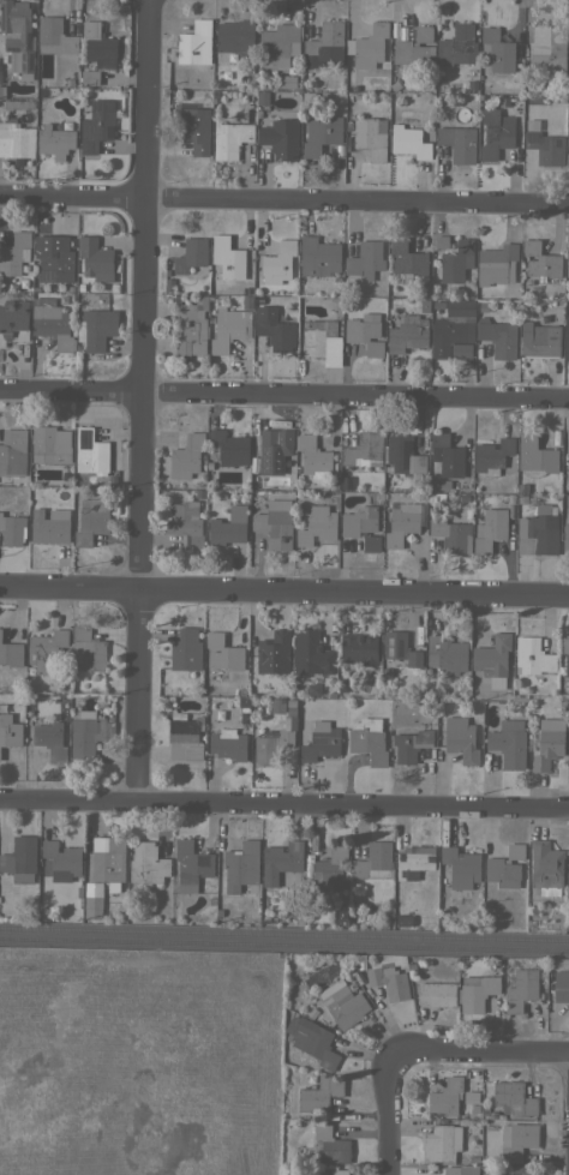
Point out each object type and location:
building: (17, 35)
building: (54, 36)
building: (234, 42)
building: (460, 42)
building: (194, 43)
building: (567, 43)
building: (98, 44)
building: (278, 44)
building: (325, 44)
building: (370, 48)
building: (414, 49)
building: (497, 49)
building: (546, 52)
building: (90, 77)
building: (281, 82)
building: (264, 83)
building: (472, 84)
building: (394, 85)
building: (307, 96)
building: (260, 97)
building: (471, 101)
building: (19, 104)
building: (247, 114)
building: (531, 124)
building: (97, 125)
building: (319, 132)
building: (496, 133)
building: (192, 134)
building: (370, 137)
building: (281, 138)
building: (230, 139)
building: (16, 140)
building: (54, 140)
building: (409, 142)
building: (457, 143)
building: (545, 146)
building: (567, 158)
road: (283, 202)
building: (14, 253)
building: (191, 256)
building: (318, 256)
building: (227, 257)
building: (365, 257)
building: (453, 257)
building: (53, 258)
building: (95, 259)
building: (407, 259)
building: (540, 259)
building: (278, 262)
building: (497, 264)
building: (567, 268)
building: (246, 301)
building: (483, 306)
building: (13, 320)
building: (52, 323)
building: (190, 326)
building: (275, 326)
building: (96, 328)
building: (229, 328)
building: (365, 332)
building: (469, 332)
building: (407, 334)
building: (317, 336)
building: (567, 337)
building: (539, 340)
road: (139, 397)
road: (283, 397)
building: (52, 443)
building: (227, 448)
building: (364, 450)
building: (90, 451)
building: (13, 452)
building: (312, 454)
building: (402, 455)
building: (447, 455)
building: (492, 455)
building: (186, 456)
building: (535, 456)
building: (275, 458)
building: (568, 463)
building: (252, 473)
building: (345, 482)
building: (333, 484)
building: (442, 486)
building: (521, 487)
building: (467, 497)
building: (435, 498)
building: (477, 498)
building: (510, 498)
building: (522, 499)
building: (511, 511)
building: (467, 514)
building: (91, 520)
building: (403, 522)
building: (186, 523)
building: (275, 523)
building: (317, 524)
building: (49, 526)
building: (361, 526)
building: (510, 527)
building: (12, 529)
building: (490, 529)
building: (540, 529)
building: (226, 530)
building: (451, 534)
building: (565, 536)
road: (283, 592)
building: (358, 648)
building: (46, 649)
building: (88, 649)
building: (185, 649)
building: (400, 649)
building: (274, 652)
building: (11, 653)
building: (310, 653)
building: (565, 653)
building: (447, 654)
building: (533, 655)
building: (222, 657)
building: (492, 659)
building: (430, 684)
building: (311, 688)
building: (239, 690)
building: (415, 693)
building: (330, 694)
building: (241, 700)
building: (289, 701)
building: (241, 715)
building: (287, 719)
building: (10, 731)
building: (88, 732)
building: (49, 738)
building: (185, 738)
building: (367, 739)
building: (461, 739)
building: (321, 742)
building: (509, 742)
building: (549, 743)
building: (228, 744)
building: (411, 744)
building: (270, 747)
building: (291, 754)
building: (567, 754)
road: (284, 801)
building: (61, 857)
building: (20, 858)
building: (107, 858)
building: (281, 861)
building: (373, 861)
building: (413, 861)
building: (146, 863)
building: (568, 863)
building: (191, 864)
building: (241, 867)
building: (460, 867)
building: (505, 867)
building: (546, 867)
building: (329, 868)
building: (210, 900)
building: (94, 903)
building: (217, 912)
building: (132, 916)
building: (340, 917)
building: (401, 921)
railway: (284, 930)
railway: (284, 945)
building: (389, 982)
building: (561, 985)
building: (520, 990)
building: (475, 991)
building: (437, 994)
building: (342, 1003)
building: (424, 1014)
building: (312, 1039)
road: (478, 1053)
building: (319, 1093)
building: (445, 1096)
building: (514, 1098)
road: (385, 1114)
building: (492, 1115)
building: (501, 1116)
building: (477, 1121)
building: (517, 1140)
building: (441, 1143)
building: (330, 1144)
building: (516, 1169)
building: (454, 1170)
building: (333, 1173)

